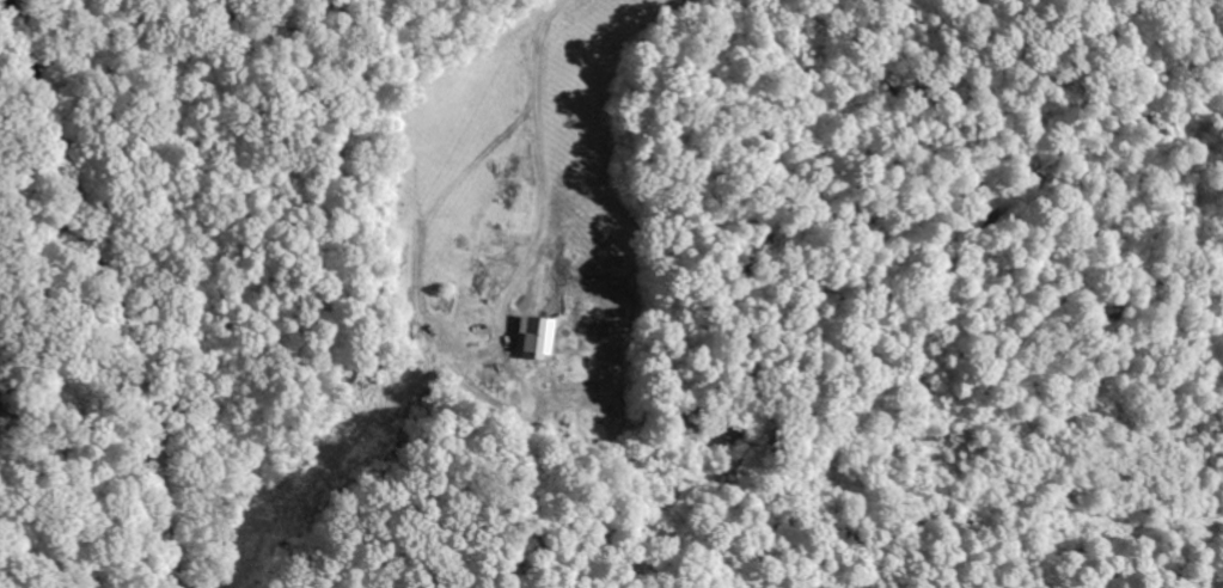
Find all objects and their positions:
road: (104, 290)
building: (539, 337)

